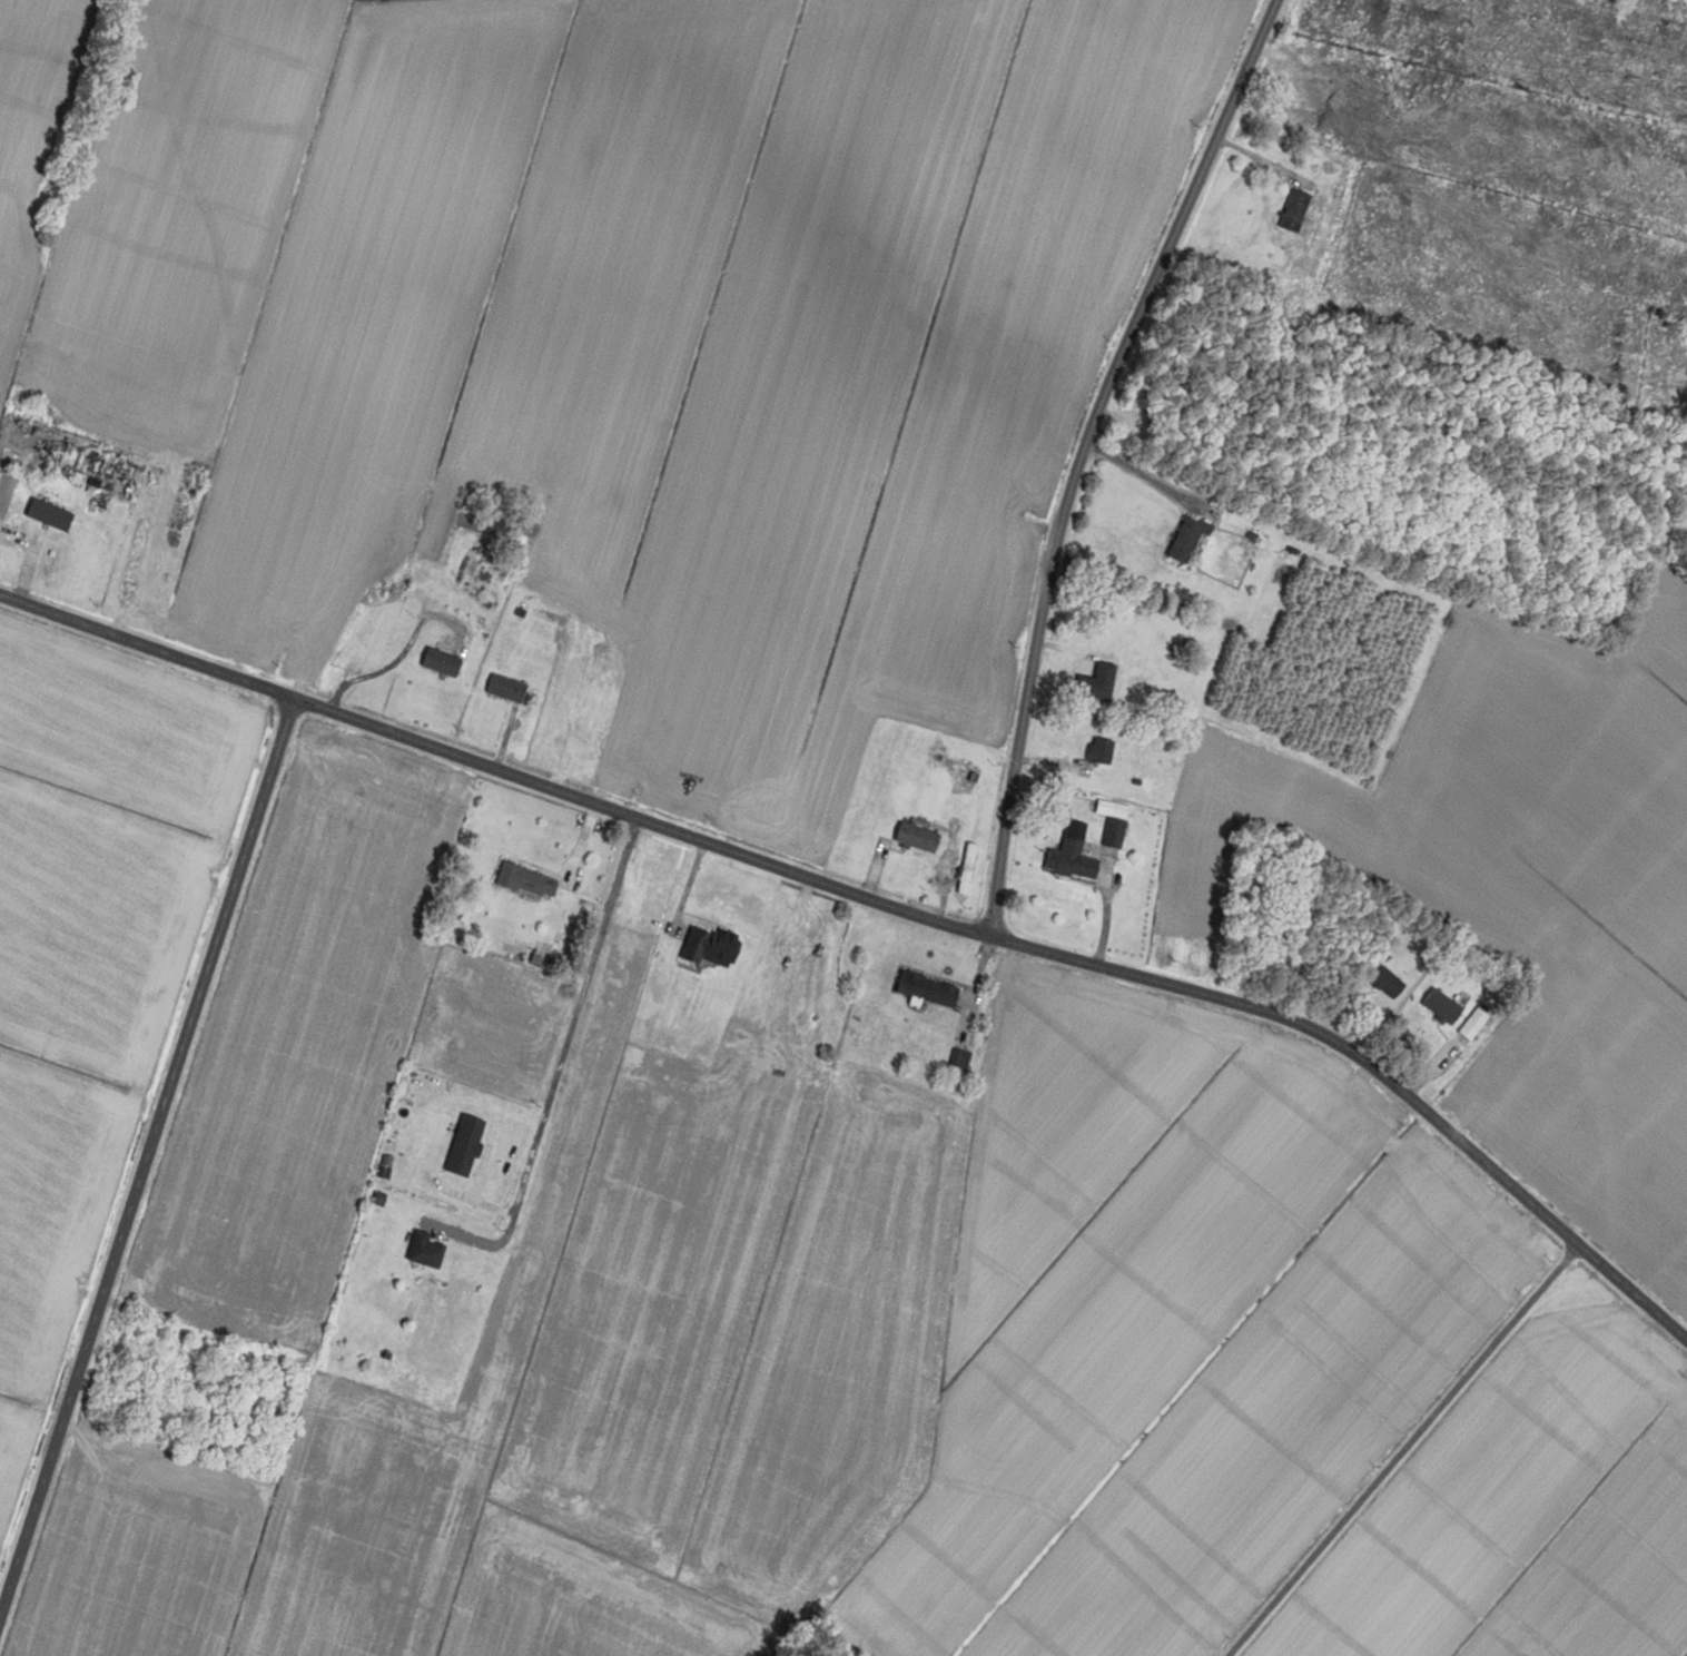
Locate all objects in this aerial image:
building: (1293, 210)
road: (1087, 464)
road: (1144, 474)
building: (61, 520)
building: (1186, 541)
building: (445, 653)
building: (1095, 683)
building: (504, 689)
building: (1099, 751)
building: (964, 781)
building: (1113, 832)
building: (916, 838)
building: (1071, 859)
building: (965, 868)
building: (524, 880)
road: (880, 925)
building: (710, 947)
building: (1387, 983)
building: (926, 989)
building: (1440, 1006)
building: (1472, 1024)
building: (958, 1059)
road: (556, 1075)
building: (463, 1146)
building: (384, 1167)
road: (148, 1175)
road: (475, 1203)
building: (424, 1250)
road: (1401, 1450)

